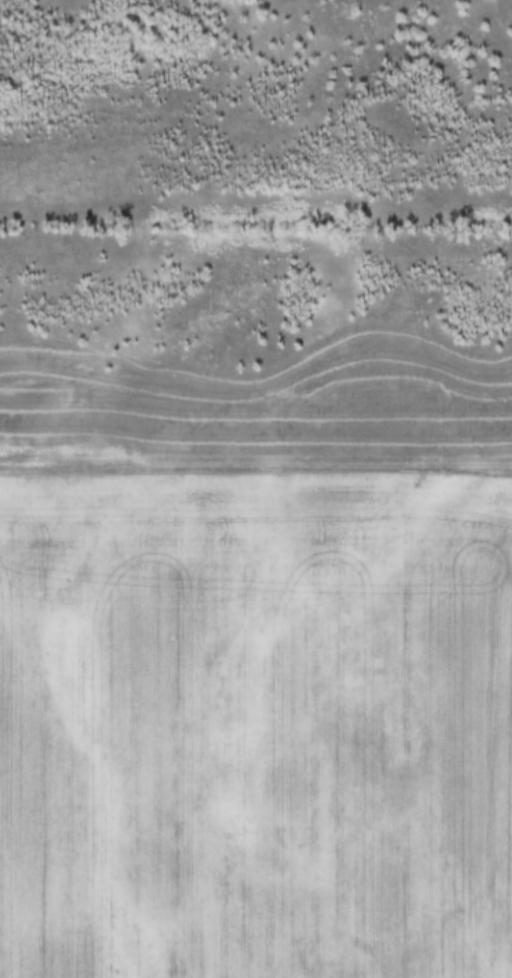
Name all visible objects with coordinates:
road: (256, 464)

